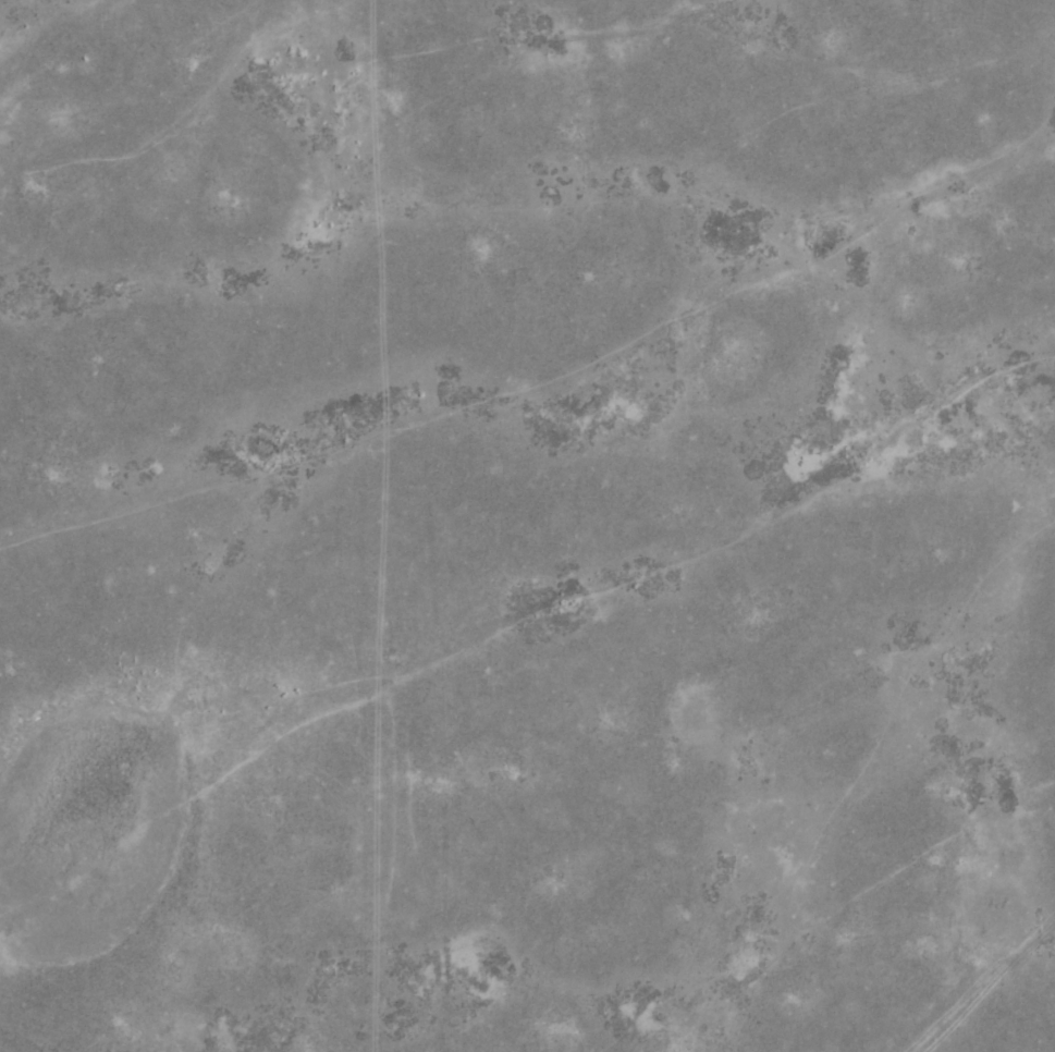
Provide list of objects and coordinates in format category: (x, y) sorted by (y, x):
road: (992, 993)

